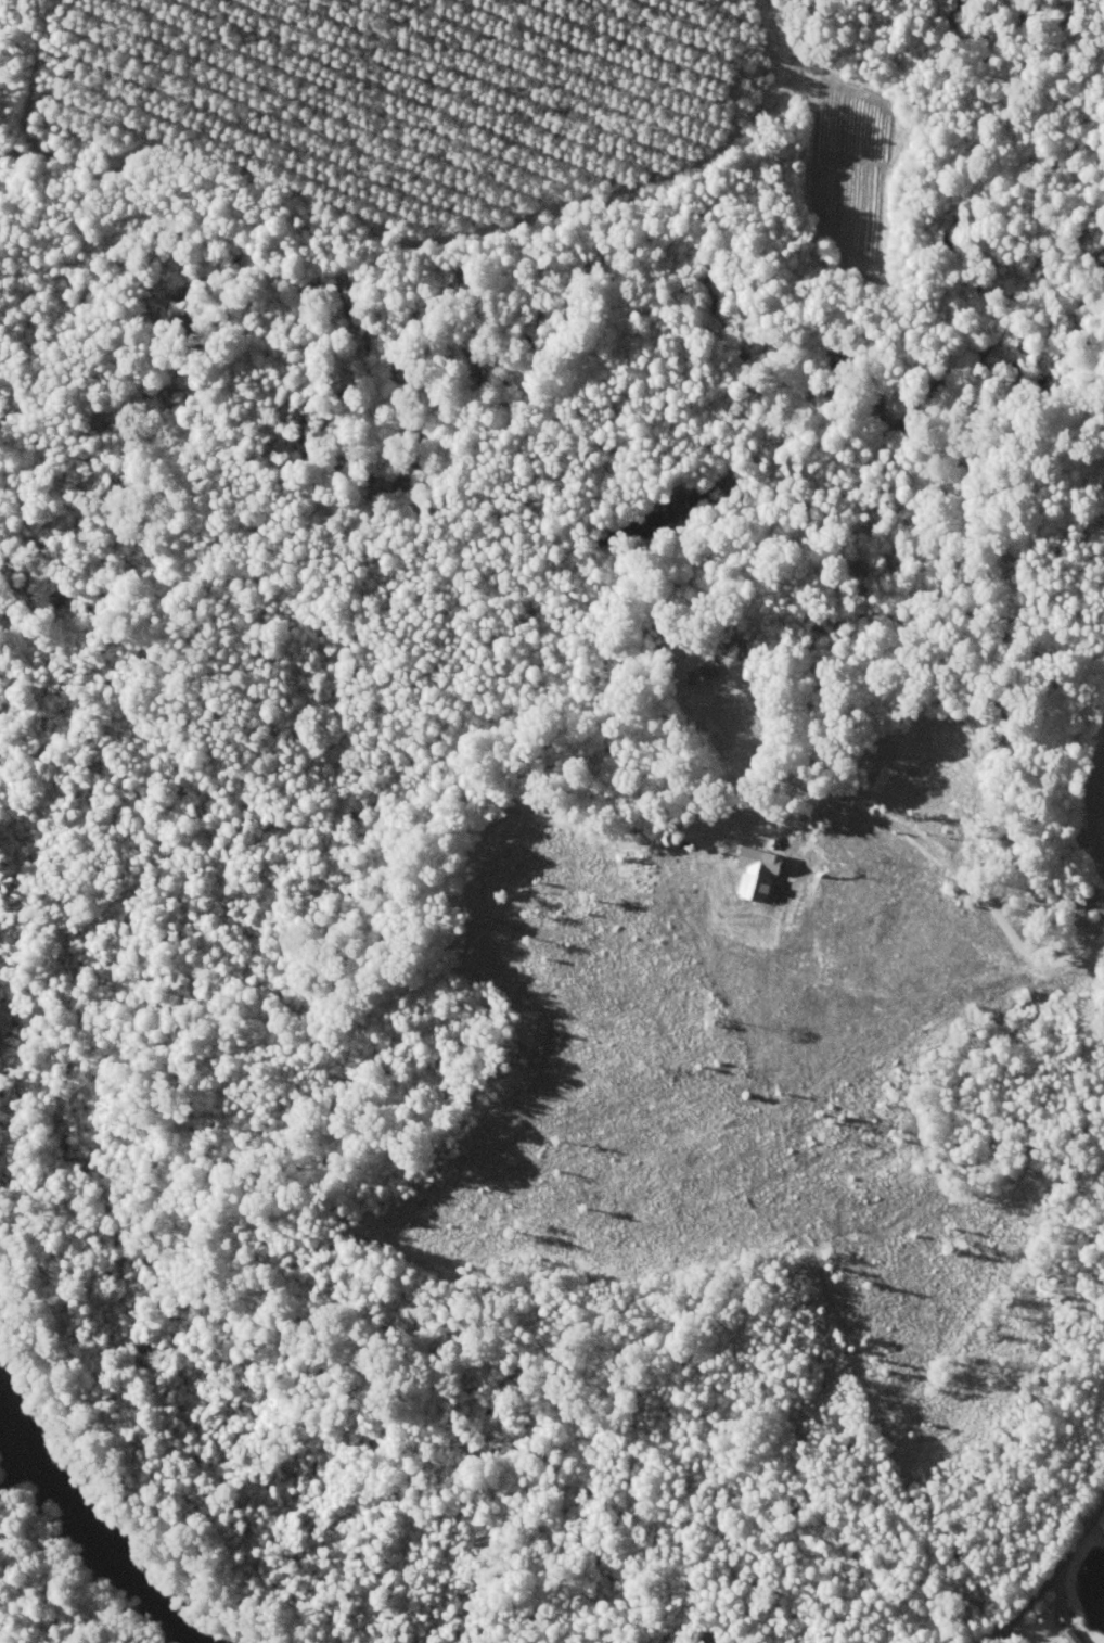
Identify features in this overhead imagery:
road: (1078, 767)
road: (952, 862)
road: (1060, 1564)
building: (1071, 1636)

